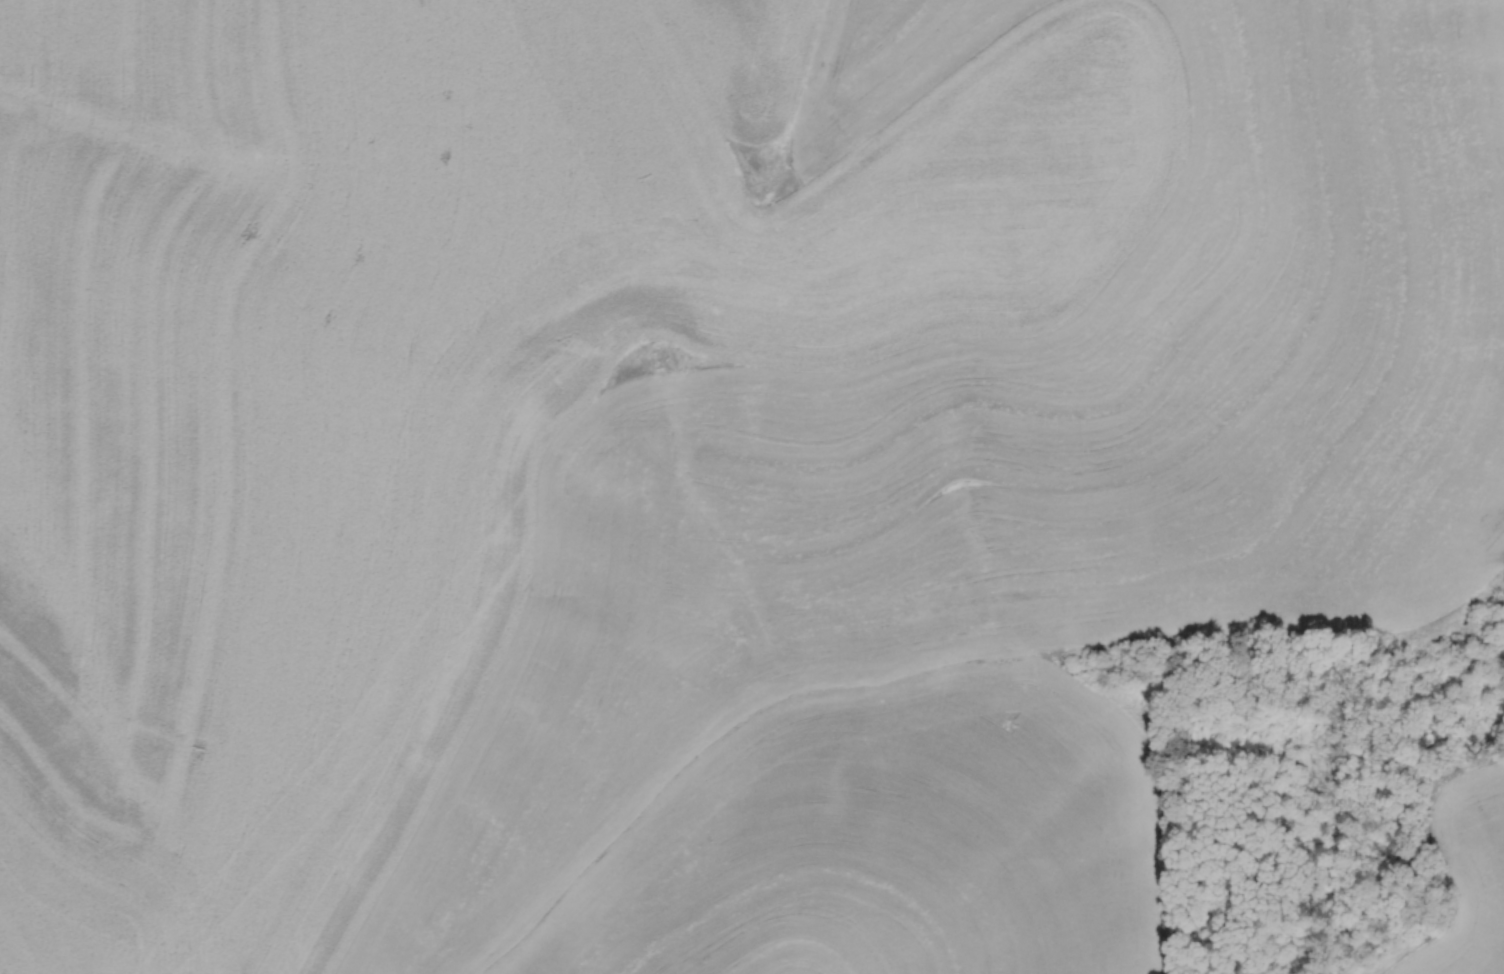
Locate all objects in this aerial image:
crop: (700, 458)
crop: (1465, 873)

